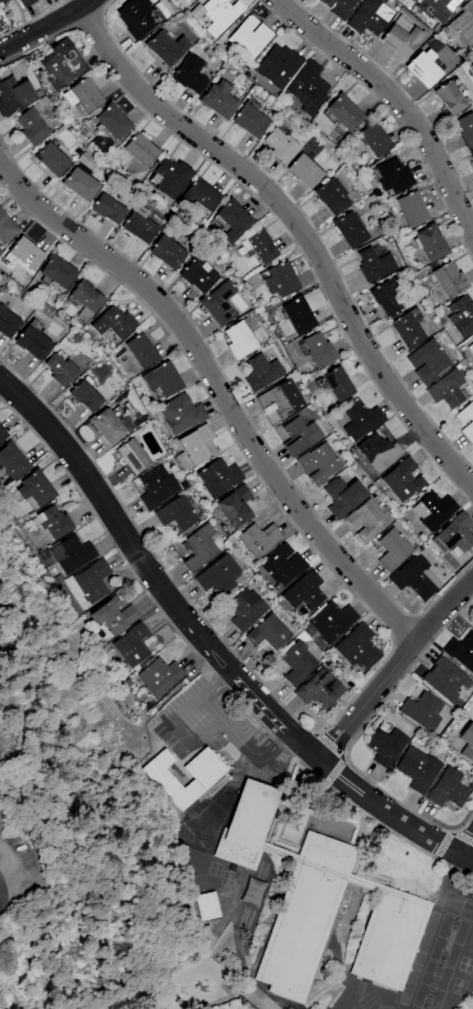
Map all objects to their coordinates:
building: (412, 0)
building: (3, 1)
building: (25, 2)
building: (187, 2)
building: (338, 7)
building: (437, 9)
building: (219, 15)
building: (369, 17)
building: (141, 20)
road: (47, 25)
building: (462, 25)
building: (248, 38)
building: (400, 40)
building: (166, 48)
building: (472, 52)
building: (60, 65)
building: (278, 65)
building: (423, 67)
building: (190, 74)
building: (306, 90)
building: (14, 95)
building: (82, 95)
building: (450, 96)
building: (220, 99)
road: (399, 103)
building: (343, 112)
building: (250, 120)
building: (112, 121)
building: (32, 125)
building: (465, 130)
building: (375, 139)
building: (280, 145)
building: (140, 150)
building: (471, 152)
building: (52, 159)
building: (304, 171)
building: (392, 176)
building: (171, 177)
building: (80, 184)
building: (200, 194)
building: (331, 196)
building: (108, 208)
building: (411, 208)
building: (233, 220)
building: (140, 227)
road: (297, 227)
building: (6, 228)
building: (350, 229)
building: (430, 242)
building: (259, 245)
building: (167, 251)
building: (25, 253)
building: (373, 265)
building: (57, 272)
building: (198, 274)
building: (279, 280)
building: (446, 280)
building: (389, 295)
building: (85, 296)
building: (219, 303)
building: (296, 314)
building: (460, 316)
building: (113, 322)
building: (7, 323)
building: (408, 327)
building: (32, 340)
building: (239, 340)
building: (472, 344)
building: (316, 349)
building: (141, 350)
building: (428, 361)
building: (60, 368)
building: (261, 372)
building: (161, 380)
building: (337, 384)
road: (221, 389)
building: (448, 389)
building: (85, 394)
building: (280, 399)
building: (181, 413)
building: (361, 418)
building: (461, 423)
building: (106, 426)
building: (2, 435)
building: (300, 436)
building: (196, 447)
building: (379, 452)
building: (131, 455)
building: (11, 463)
building: (319, 463)
building: (218, 478)
building: (403, 479)
building: (156, 487)
building: (35, 488)
building: (343, 496)
building: (235, 506)
building: (433, 510)
building: (176, 514)
building: (366, 520)
building: (53, 522)
road: (121, 524)
building: (455, 534)
building: (259, 539)
building: (200, 548)
building: (392, 548)
building: (71, 554)
building: (280, 567)
building: (218, 575)
building: (416, 577)
building: (93, 580)
building: (304, 592)
building: (245, 609)
road: (443, 614)
building: (114, 617)
building: (332, 621)
building: (471, 621)
building: (268, 632)
building: (131, 645)
building: (358, 647)
building: (461, 650)
building: (297, 663)
building: (159, 676)
building: (445, 678)
road: (215, 680)
building: (320, 690)
road: (368, 702)
road: (209, 706)
building: (422, 711)
road: (278, 718)
road: (198, 738)
road: (273, 739)
building: (467, 742)
building: (384, 747)
building: (204, 768)
building: (418, 769)
building: (169, 780)
building: (448, 789)
road: (391, 807)
road: (466, 845)
road: (466, 858)
road: (0, 890)
building: (319, 904)
building: (207, 906)

